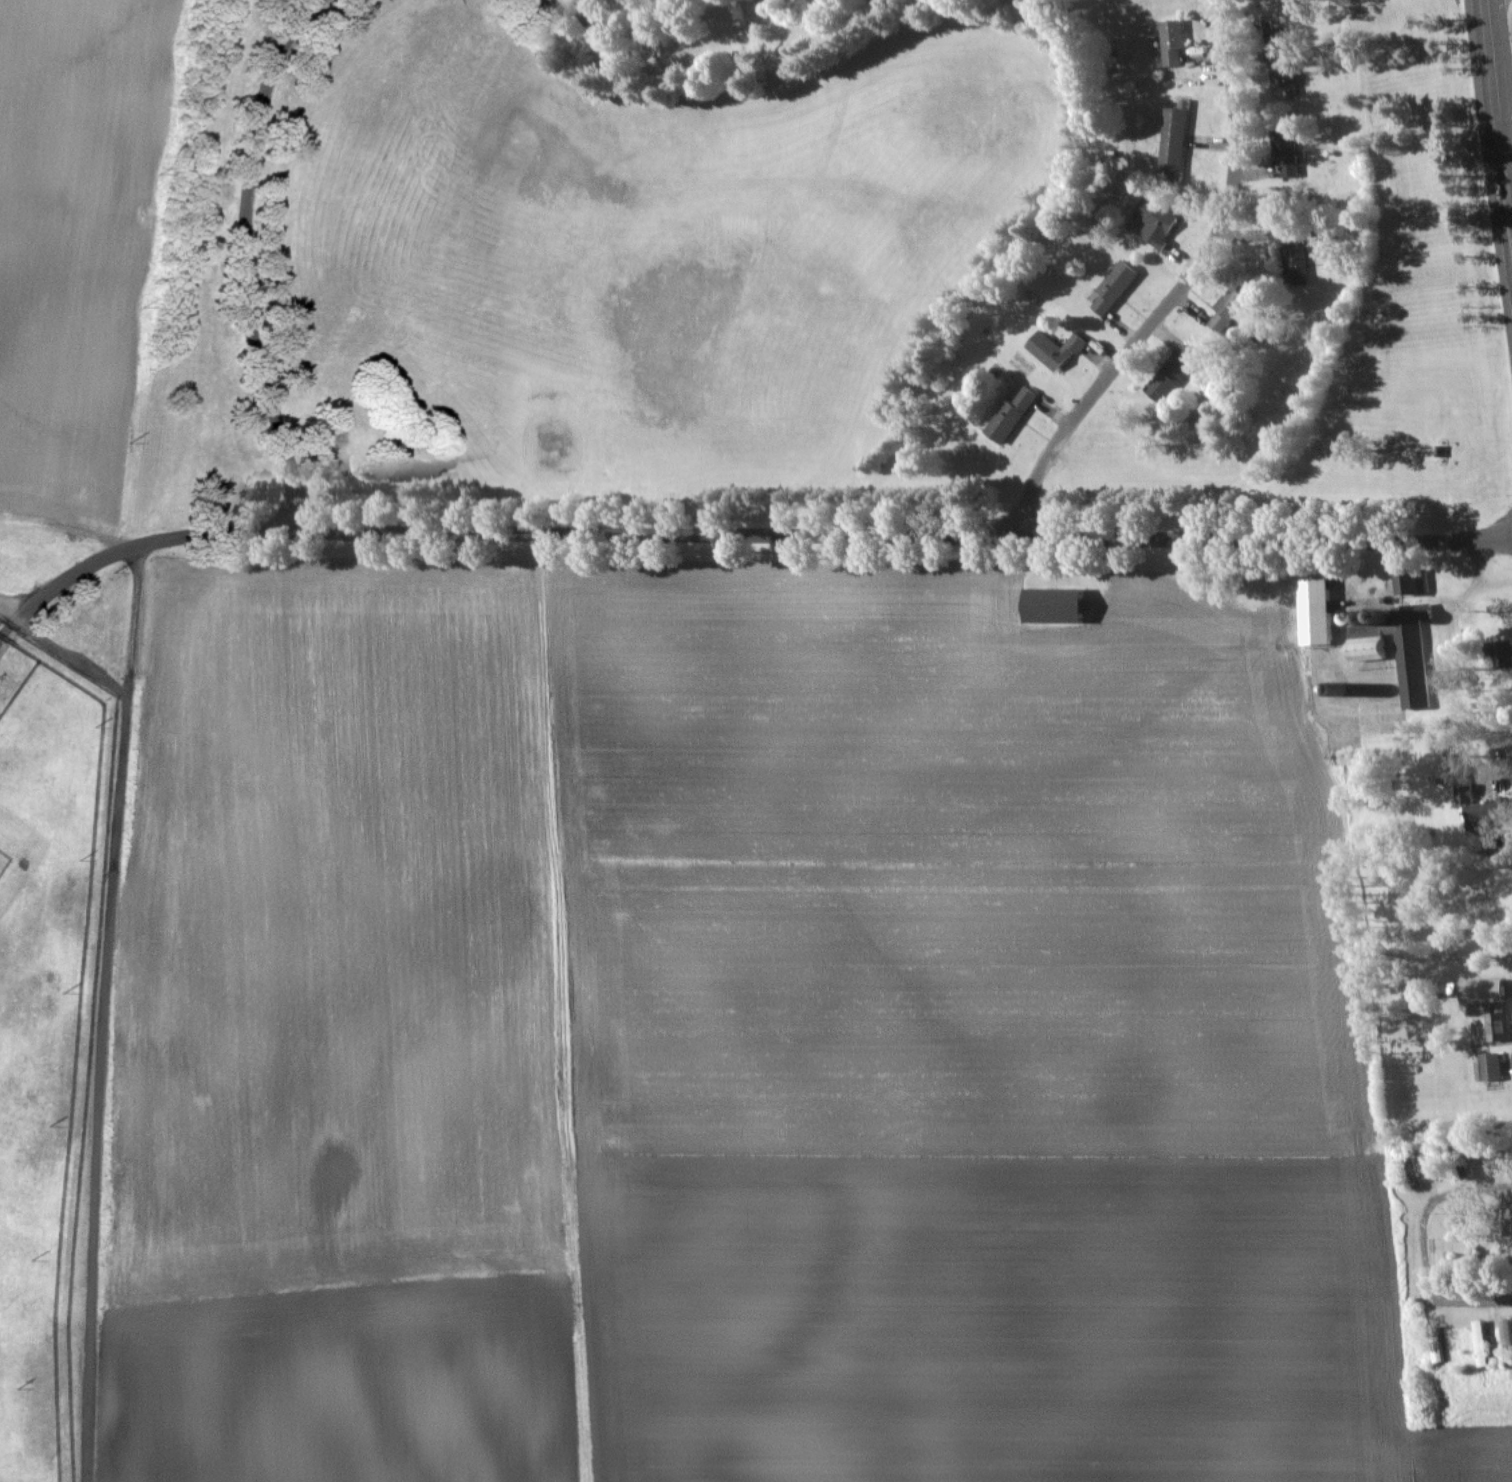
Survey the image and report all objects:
building: (1283, 58)
road: (1503, 89)
road: (1497, 120)
building: (1177, 138)
road: (240, 260)
road: (1178, 284)
building: (1232, 307)
building: (1176, 372)
road: (750, 533)
building: (1059, 605)
building: (1317, 609)
road: (11, 611)
road: (8, 635)
building: (1371, 643)
road: (72, 658)
road: (103, 1013)
road: (1423, 1247)
building: (1508, 1340)
building: (1483, 1343)

